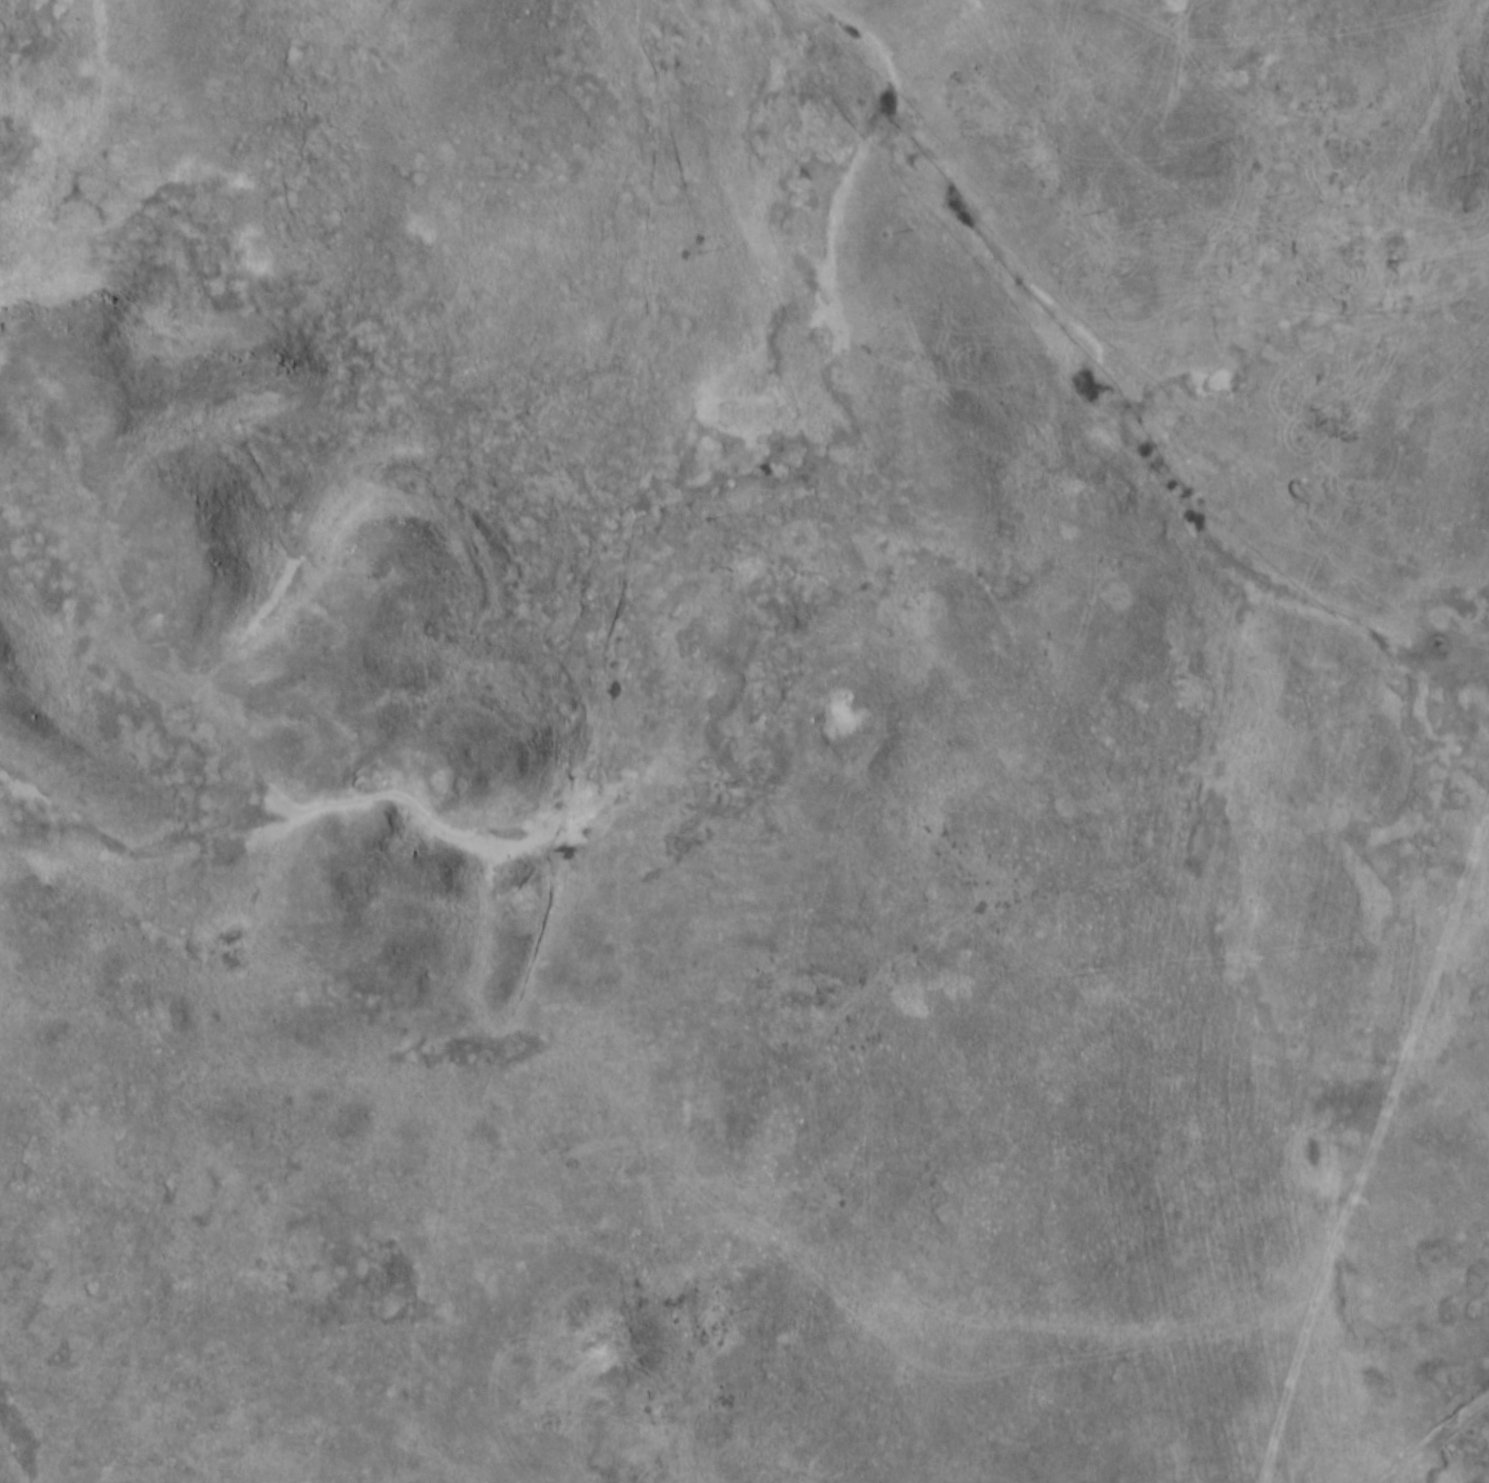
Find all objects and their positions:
road: (1434, 1439)

